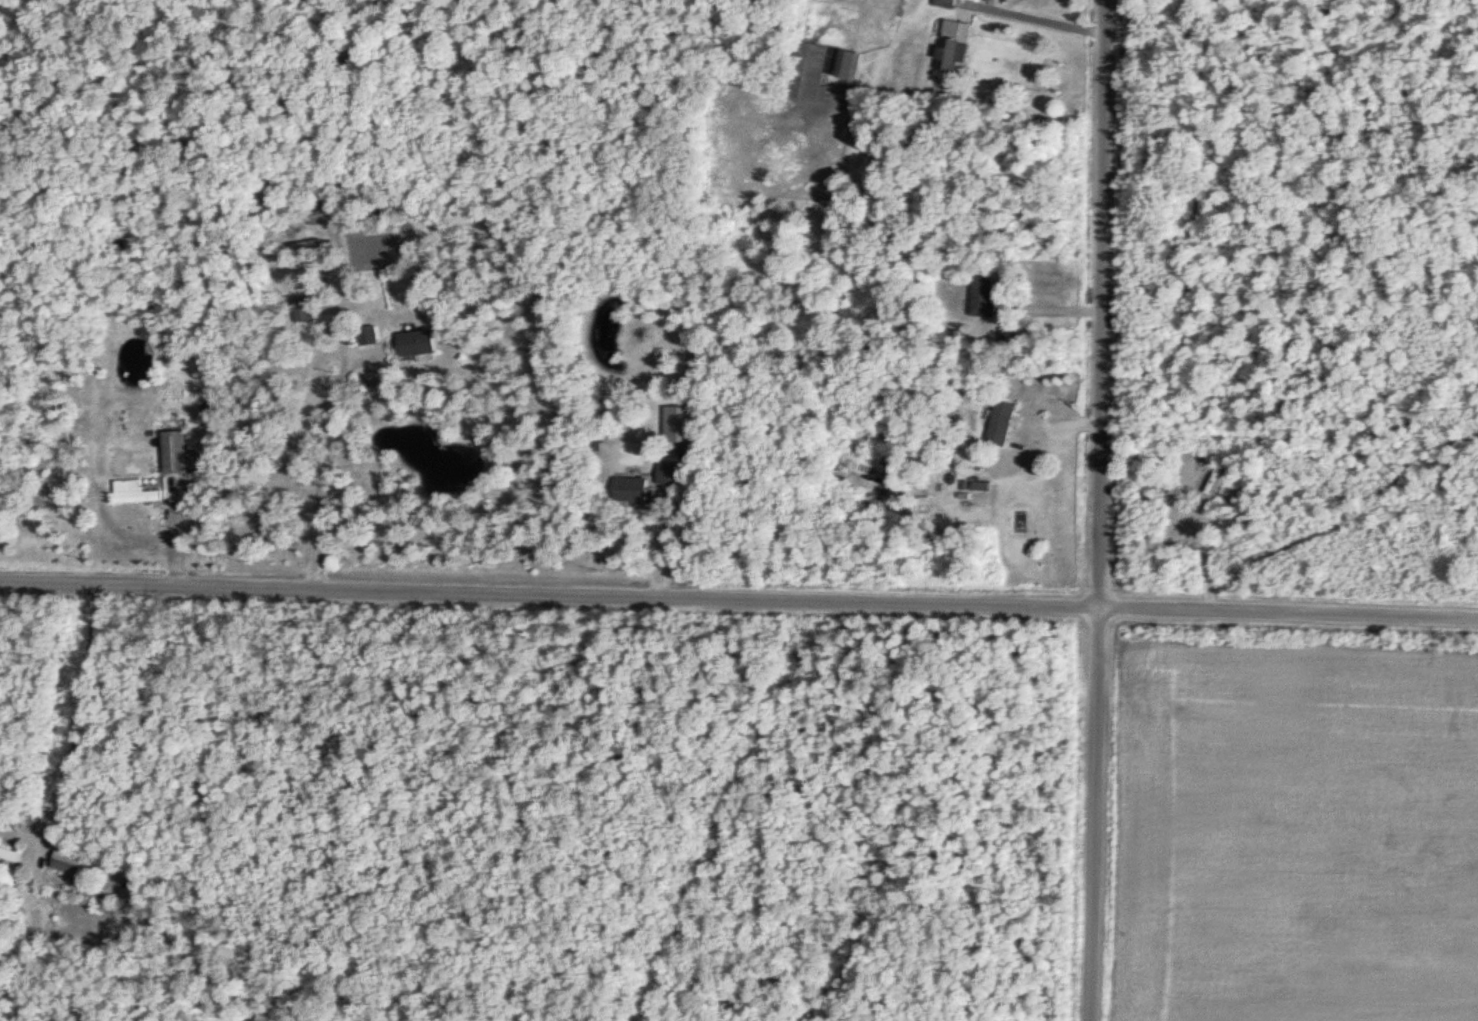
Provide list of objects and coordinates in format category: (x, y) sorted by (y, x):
building: (948, 3)
road: (1033, 20)
building: (957, 45)
building: (826, 69)
building: (987, 294)
road: (1103, 302)
building: (371, 334)
building: (1009, 337)
building: (424, 342)
building: (1003, 422)
road: (329, 446)
building: (181, 452)
building: (674, 472)
building: (640, 487)
building: (138, 491)
building: (1168, 525)
building: (1186, 539)
road: (549, 592)
road: (1288, 611)
road: (75, 713)
road: (1094, 813)
building: (12, 852)
building: (74, 861)

